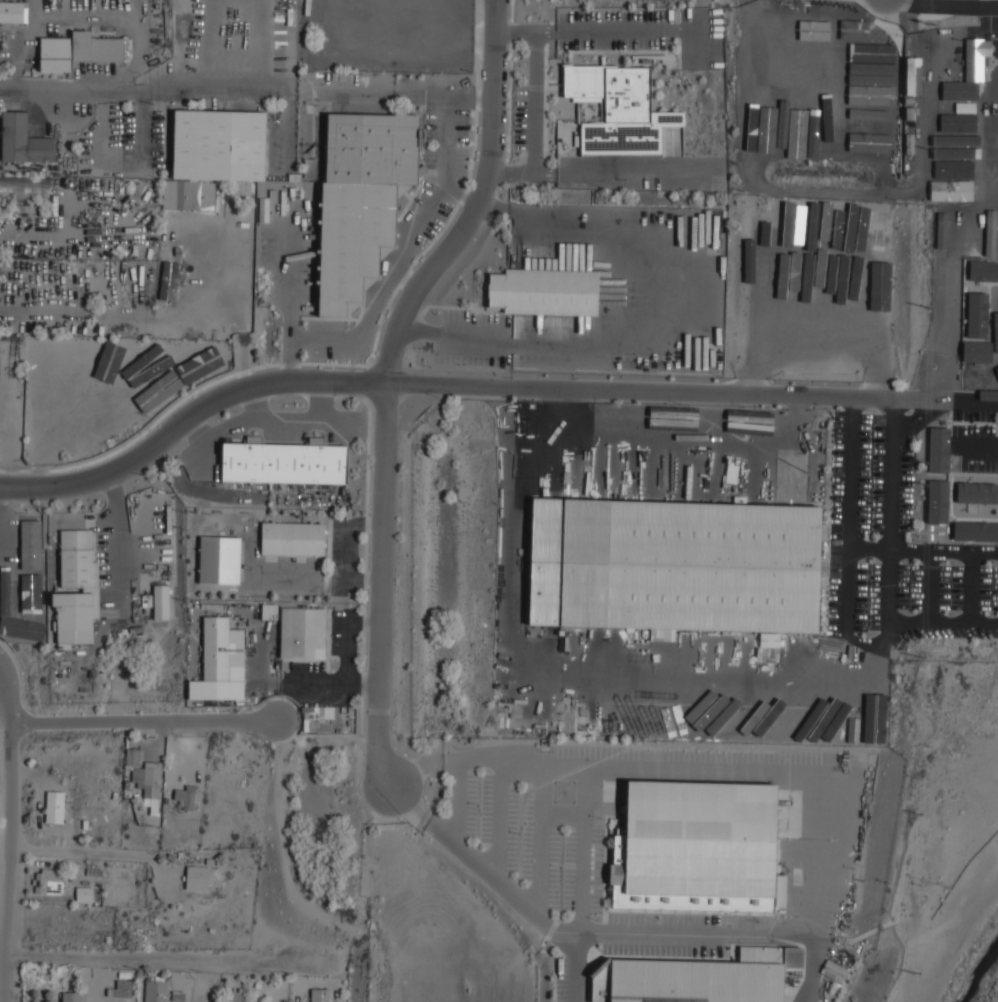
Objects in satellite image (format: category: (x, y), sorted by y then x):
road: (952, 5)
building: (12, 12)
road: (690, 24)
building: (835, 24)
parking lot: (616, 29)
road: (611, 30)
road: (546, 31)
building: (852, 37)
building: (96, 47)
building: (55, 54)
building: (868, 55)
building: (976, 57)
building: (858, 74)
building: (913, 76)
road: (210, 88)
building: (849, 89)
building: (879, 89)
road: (36, 91)
building: (880, 102)
road: (534, 108)
building: (619, 109)
building: (969, 110)
building: (956, 127)
building: (882, 128)
building: (783, 136)
building: (23, 140)
building: (946, 140)
building: (220, 144)
building: (954, 155)
parking lot: (441, 168)
building: (960, 185)
building: (24, 189)
road: (460, 191)
building: (189, 195)
building: (361, 198)
building: (960, 205)
road: (417, 230)
building: (990, 238)
building: (831, 240)
building: (794, 245)
building: (769, 246)
building: (875, 255)
building: (862, 261)
building: (982, 270)
building: (169, 277)
parking lot: (626, 285)
building: (545, 291)
building: (815, 293)
building: (766, 296)
road: (293, 298)
building: (783, 299)
building: (940, 306)
building: (975, 315)
road: (644, 323)
parking lot: (473, 338)
parking lot: (330, 339)
building: (977, 352)
building: (71, 358)
building: (91, 359)
building: (141, 360)
building: (45, 363)
building: (198, 369)
road: (387, 378)
road: (484, 384)
building: (62, 398)
building: (608, 411)
building: (654, 426)
building: (743, 426)
parking lot: (974, 440)
road: (976, 447)
building: (938, 454)
building: (285, 462)
building: (784, 473)
building: (797, 474)
building: (977, 492)
building: (936, 501)
road: (2, 525)
building: (975, 530)
building: (293, 538)
road: (117, 539)
building: (31, 545)
parking lot: (894, 545)
road: (919, 550)
building: (77, 559)
building: (220, 559)
building: (675, 564)
road: (929, 586)
building: (33, 592)
building: (161, 602)
building: (6, 611)
building: (269, 611)
building: (76, 616)
road: (964, 621)
building: (28, 629)
building: (303, 632)
building: (769, 639)
road: (349, 641)
road: (869, 643)
building: (221, 647)
road: (271, 677)
road: (331, 683)
building: (807, 694)
building: (875, 709)
building: (747, 718)
road: (143, 721)
building: (812, 727)
building: (776, 731)
building: (133, 757)
building: (149, 784)
building: (185, 798)
building: (54, 807)
road: (9, 834)
building: (697, 847)
road: (92, 853)
road: (832, 862)
building: (199, 877)
building: (49, 879)
building: (84, 894)
road: (173, 960)
building: (834, 971)
building: (699, 978)
building: (122, 989)
building: (156, 989)
building: (320, 995)
building: (71, 997)
building: (238, 997)

